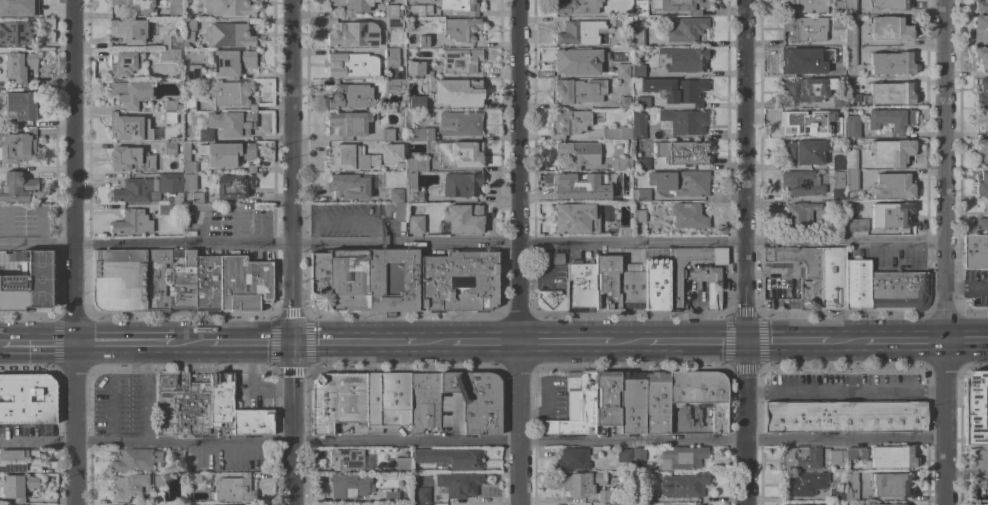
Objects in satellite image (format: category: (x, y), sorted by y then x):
building: (889, 4)
building: (136, 5)
building: (680, 5)
building: (981, 5)
building: (352, 6)
building: (458, 6)
building: (802, 6)
building: (837, 6)
building: (14, 7)
building: (576, 7)
building: (640, 7)
building: (850, 7)
building: (228, 8)
building: (174, 9)
building: (421, 10)
building: (399, 13)
building: (392, 17)
building: (253, 21)
building: (837, 22)
building: (189, 24)
building: (625, 24)
building: (980, 28)
building: (686, 29)
building: (803, 29)
building: (889, 29)
building: (460, 30)
building: (128, 31)
building: (581, 32)
building: (16, 33)
building: (351, 34)
building: (850, 34)
building: (228, 35)
building: (637, 37)
building: (187, 39)
building: (423, 41)
road: (965, 42)
building: (170, 43)
building: (400, 43)
building: (409, 43)
building: (170, 55)
building: (850, 56)
building: (391, 57)
building: (982, 57)
building: (684, 59)
building: (460, 60)
building: (802, 60)
building: (231, 62)
building: (576, 63)
building: (891, 63)
building: (124, 64)
building: (19, 65)
building: (352, 65)
building: (415, 68)
building: (838, 69)
building: (638, 70)
building: (619, 71)
building: (193, 72)
building: (394, 84)
building: (806, 89)
building: (579, 90)
building: (676, 90)
building: (982, 91)
building: (229, 92)
building: (456, 92)
building: (130, 93)
building: (890, 94)
building: (350, 96)
building: (838, 100)
building: (853, 100)
building: (624, 102)
building: (642, 102)
building: (416, 103)
building: (21, 105)
building: (169, 105)
building: (189, 105)
building: (408, 116)
building: (168, 118)
building: (891, 120)
building: (980, 120)
building: (571, 121)
building: (684, 121)
building: (797, 121)
building: (231, 122)
building: (350, 123)
building: (460, 123)
building: (638, 126)
building: (852, 126)
building: (132, 128)
building: (838, 131)
building: (418, 133)
building: (616, 133)
building: (205, 134)
building: (387, 134)
building: (18, 146)
building: (168, 148)
building: (393, 148)
building: (981, 149)
building: (684, 152)
building: (891, 152)
building: (225, 153)
building: (579, 153)
building: (802, 153)
building: (459, 154)
building: (349, 158)
building: (130, 159)
building: (851, 159)
building: (188, 160)
building: (837, 162)
building: (415, 164)
building: (621, 164)
building: (642, 164)
building: (250, 169)
building: (851, 180)
building: (189, 182)
building: (680, 182)
building: (802, 183)
building: (460, 184)
building: (578, 184)
building: (982, 185)
building: (233, 186)
building: (348, 186)
building: (837, 186)
building: (893, 186)
building: (16, 187)
building: (412, 188)
building: (150, 189)
building: (624, 193)
building: (396, 195)
building: (643, 195)
building: (197, 197)
building: (164, 209)
building: (396, 213)
building: (799, 215)
building: (638, 216)
building: (688, 216)
building: (895, 216)
building: (575, 218)
building: (463, 219)
building: (132, 222)
building: (981, 223)
building: (415, 224)
building: (838, 224)
building: (855, 225)
road: (471, 243)
road: (73, 252)
road: (291, 252)
road: (517, 252)
road: (744, 252)
road: (943, 252)
building: (975, 252)
building: (557, 258)
road: (532, 275)
building: (170, 279)
building: (365, 279)
building: (832, 279)
building: (119, 280)
building: (459, 280)
building: (207, 281)
building: (28, 283)
building: (232, 283)
building: (607, 283)
building: (656, 284)
building: (857, 284)
building: (257, 285)
building: (580, 286)
building: (723, 286)
building: (631, 287)
building: (675, 288)
building: (713, 288)
building: (809, 288)
building: (899, 291)
building: (548, 299)
road: (904, 341)
road: (965, 341)
road: (786, 342)
road: (847, 342)
road: (353, 343)
road: (432, 343)
road: (483, 343)
road: (565, 343)
road: (631, 343)
road: (697, 343)
traffic signals: (744, 343)
road: (123, 344)
road: (191, 344)
road: (250, 344)
traffic signals: (291, 344)
road: (1, 345)
road: (38, 345)
building: (221, 391)
road: (844, 391)
building: (701, 394)
building: (27, 398)
building: (607, 398)
building: (373, 399)
building: (394, 399)
building: (337, 400)
building: (476, 400)
building: (183, 401)
building: (423, 402)
building: (632, 403)
building: (656, 403)
building: (575, 406)
building: (976, 408)
building: (845, 416)
road: (471, 443)
building: (854, 453)
building: (638, 454)
building: (623, 455)
building: (836, 456)
building: (173, 457)
building: (682, 457)
building: (892, 457)
building: (450, 458)
building: (801, 458)
building: (346, 459)
building: (572, 459)
building: (135, 460)
building: (19, 461)
building: (402, 464)
road: (965, 473)
building: (192, 478)
building: (579, 483)
building: (458, 484)
building: (802, 484)
building: (135, 485)
building: (350, 485)
building: (892, 485)
building: (18, 486)
building: (684, 486)
building: (851, 488)
building: (234, 489)
building: (421, 495)
building: (837, 495)
building: (604, 496)
building: (643, 496)
building: (392, 497)
building: (155, 498)
building: (422, 504)
building: (618, 504)
building: (690, 504)
building: (798, 504)
building: (825, 504)
building: (876, 504)
building: (891, 504)
building: (981, 504)

